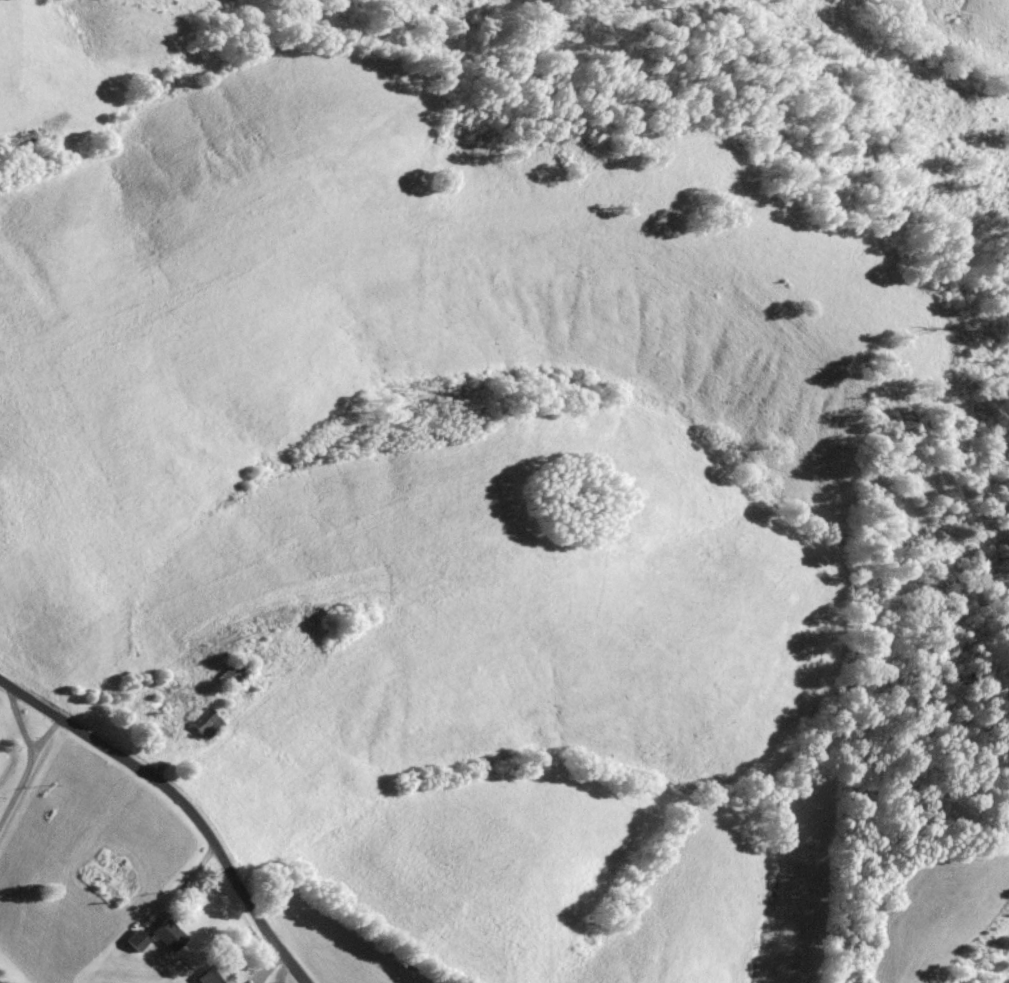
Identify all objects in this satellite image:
road: (23, 724)
road: (50, 738)
road: (19, 796)
road: (180, 804)
building: (165, 934)
building: (134, 940)
road: (280, 970)
building: (210, 976)

